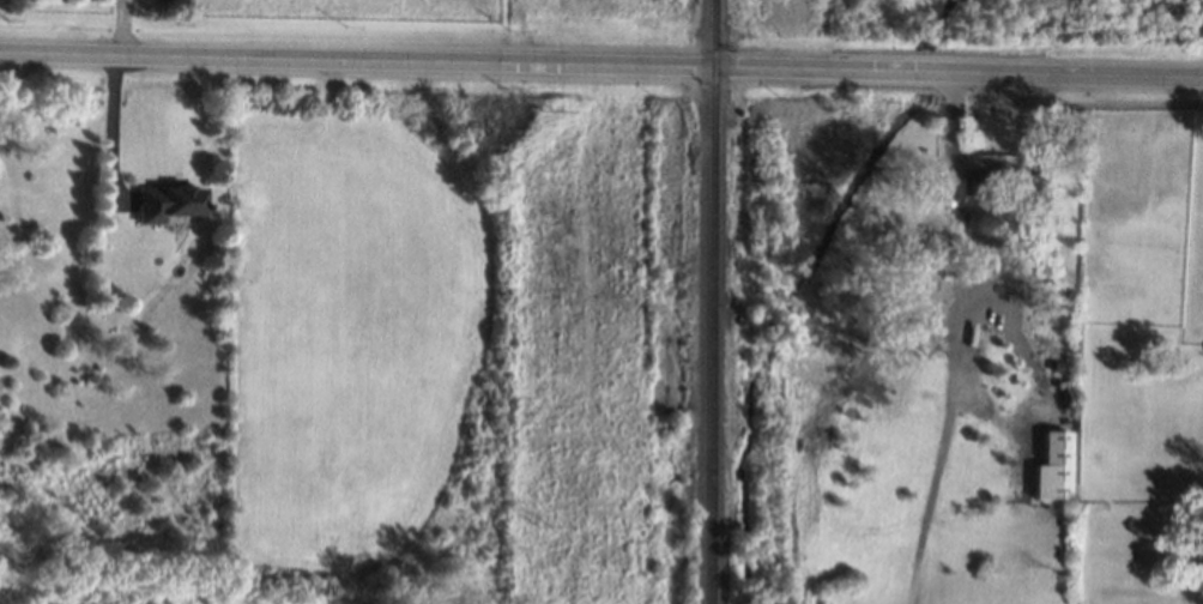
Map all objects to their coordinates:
crop: (364, 8)
road: (122, 24)
road: (600, 60)
power tower: (548, 108)
road: (114, 122)
building: (975, 187)
building: (168, 203)
railway: (715, 302)
crop: (353, 340)
building: (1056, 466)
power tower: (548, 523)

